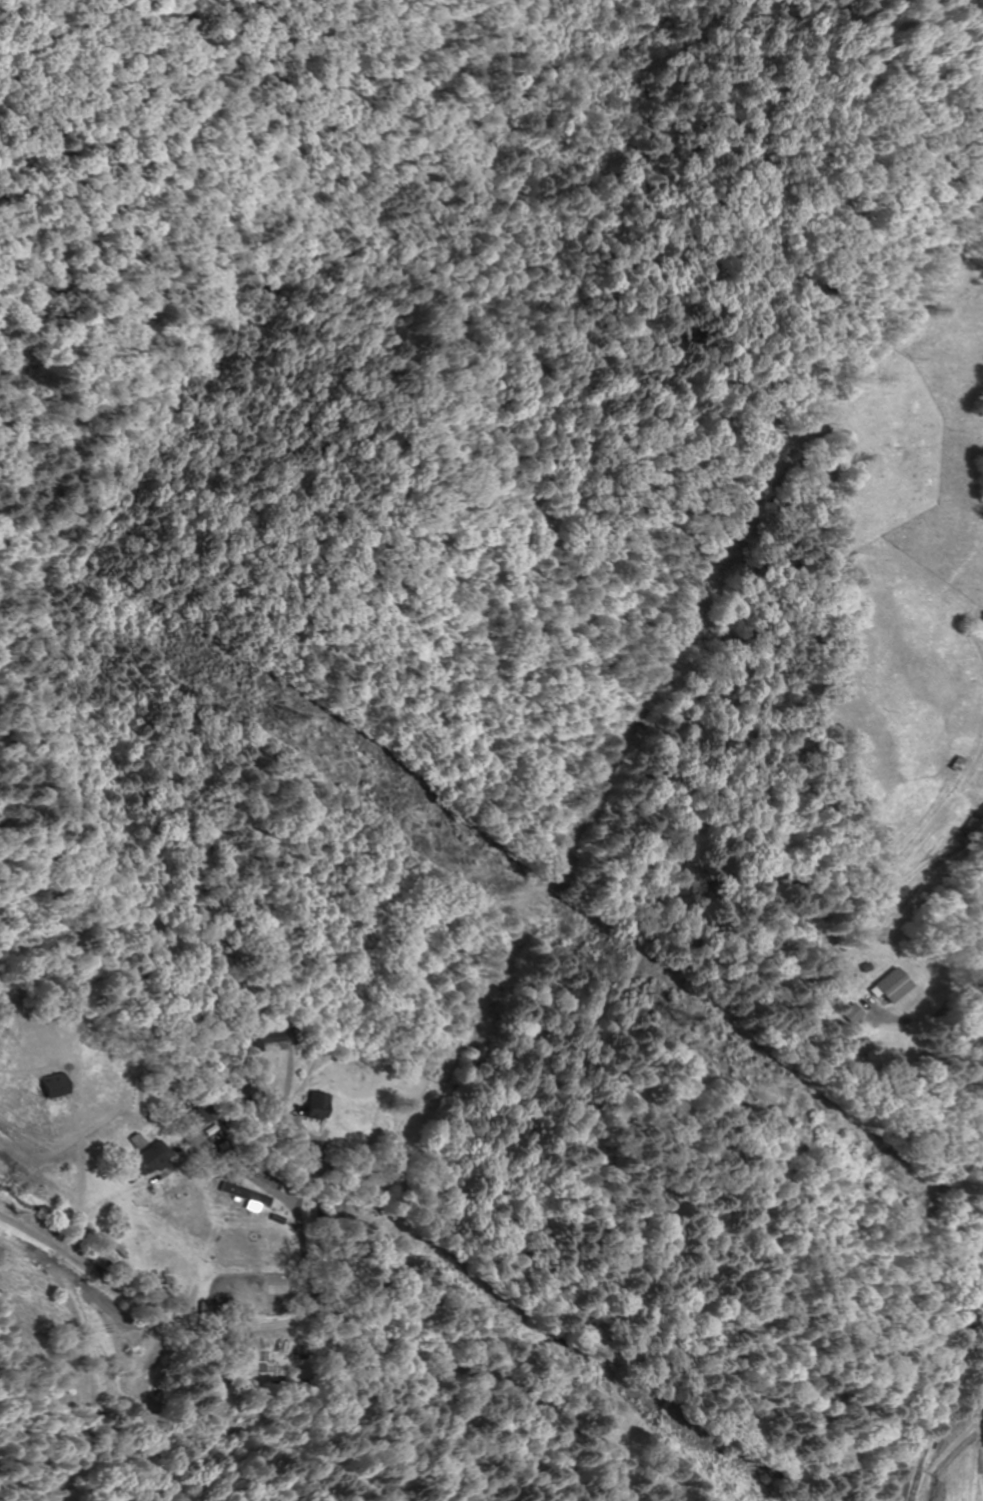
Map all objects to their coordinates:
road: (298, 1218)
road: (359, 1328)
road: (935, 1403)

